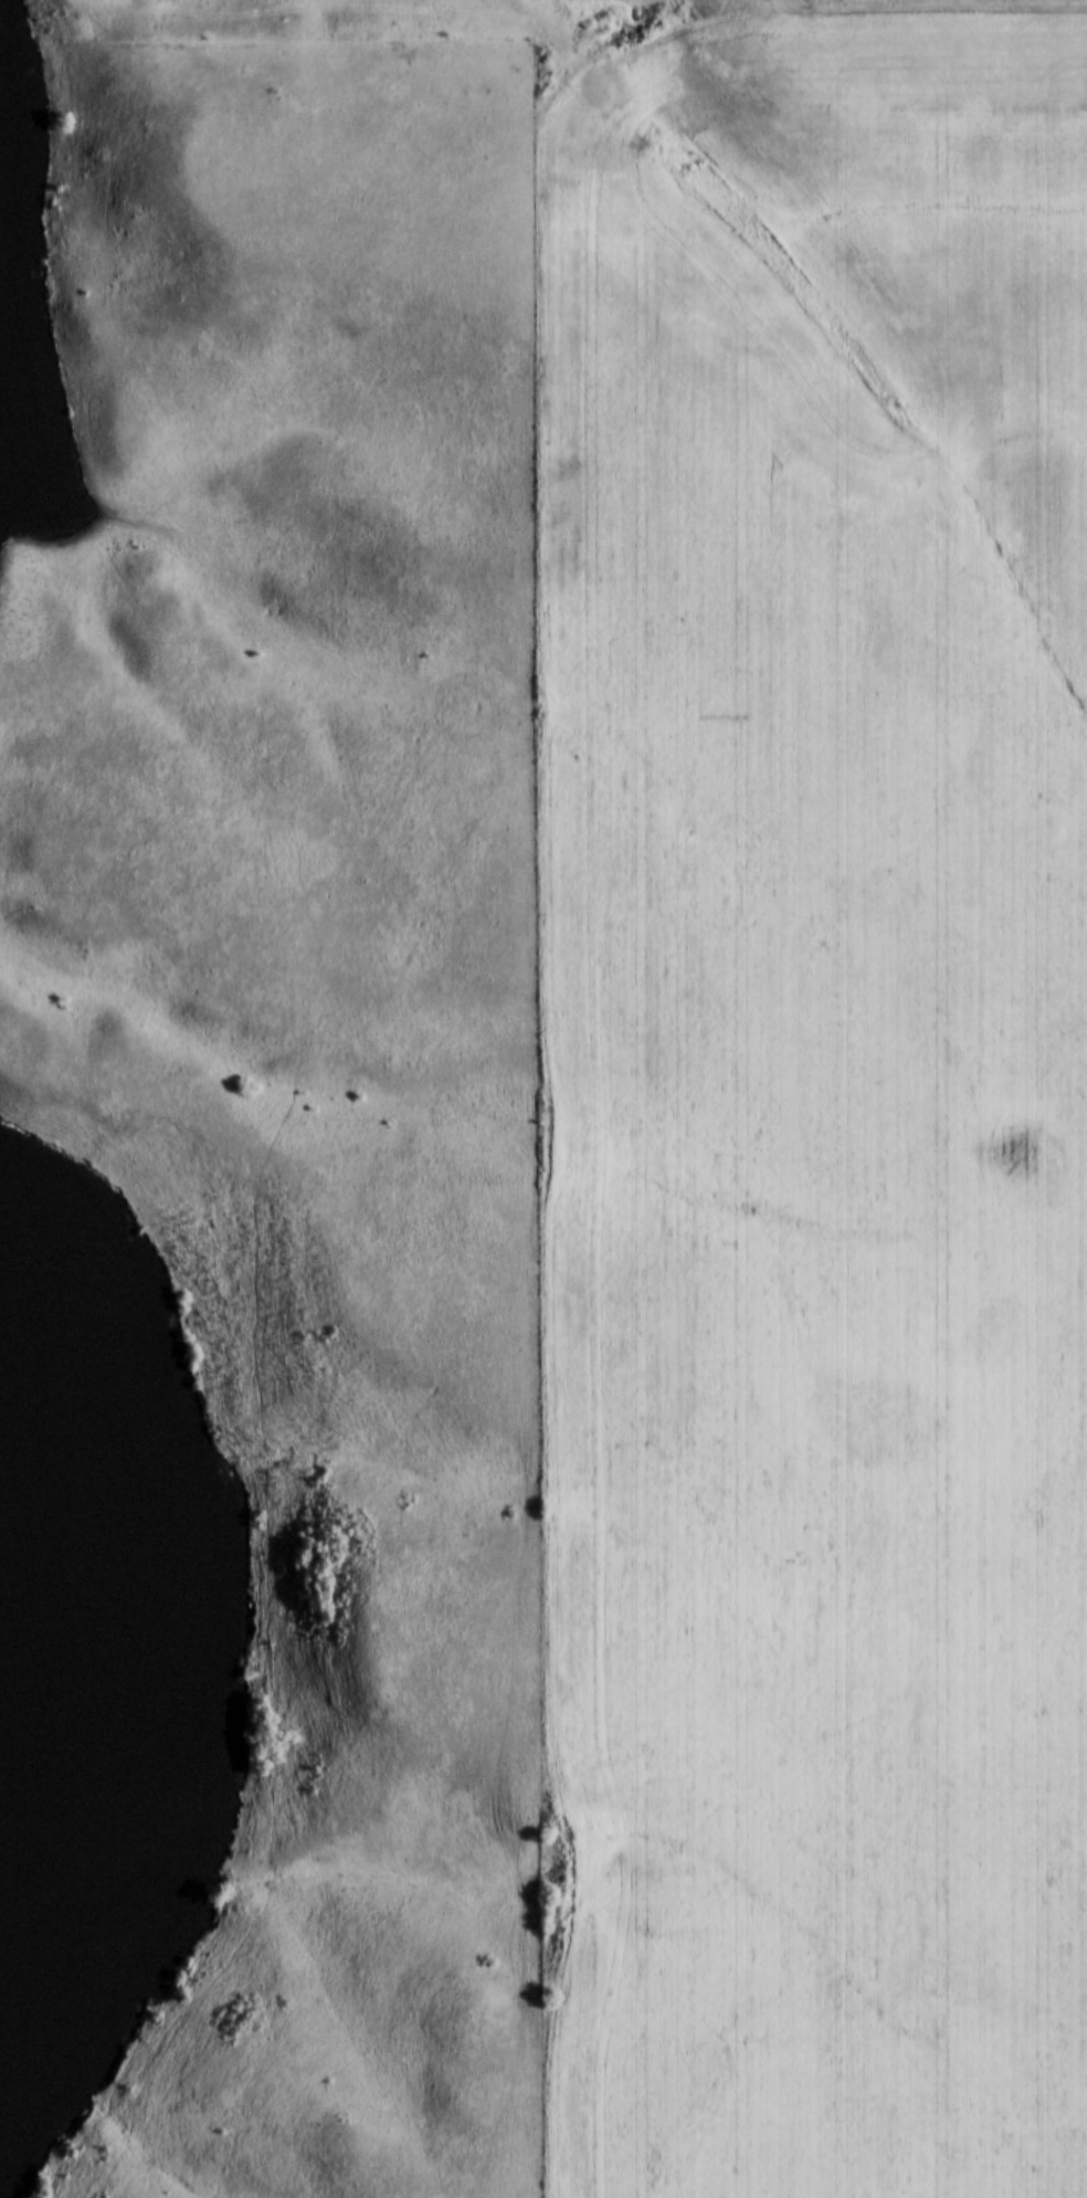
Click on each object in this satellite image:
road: (943, 8)

